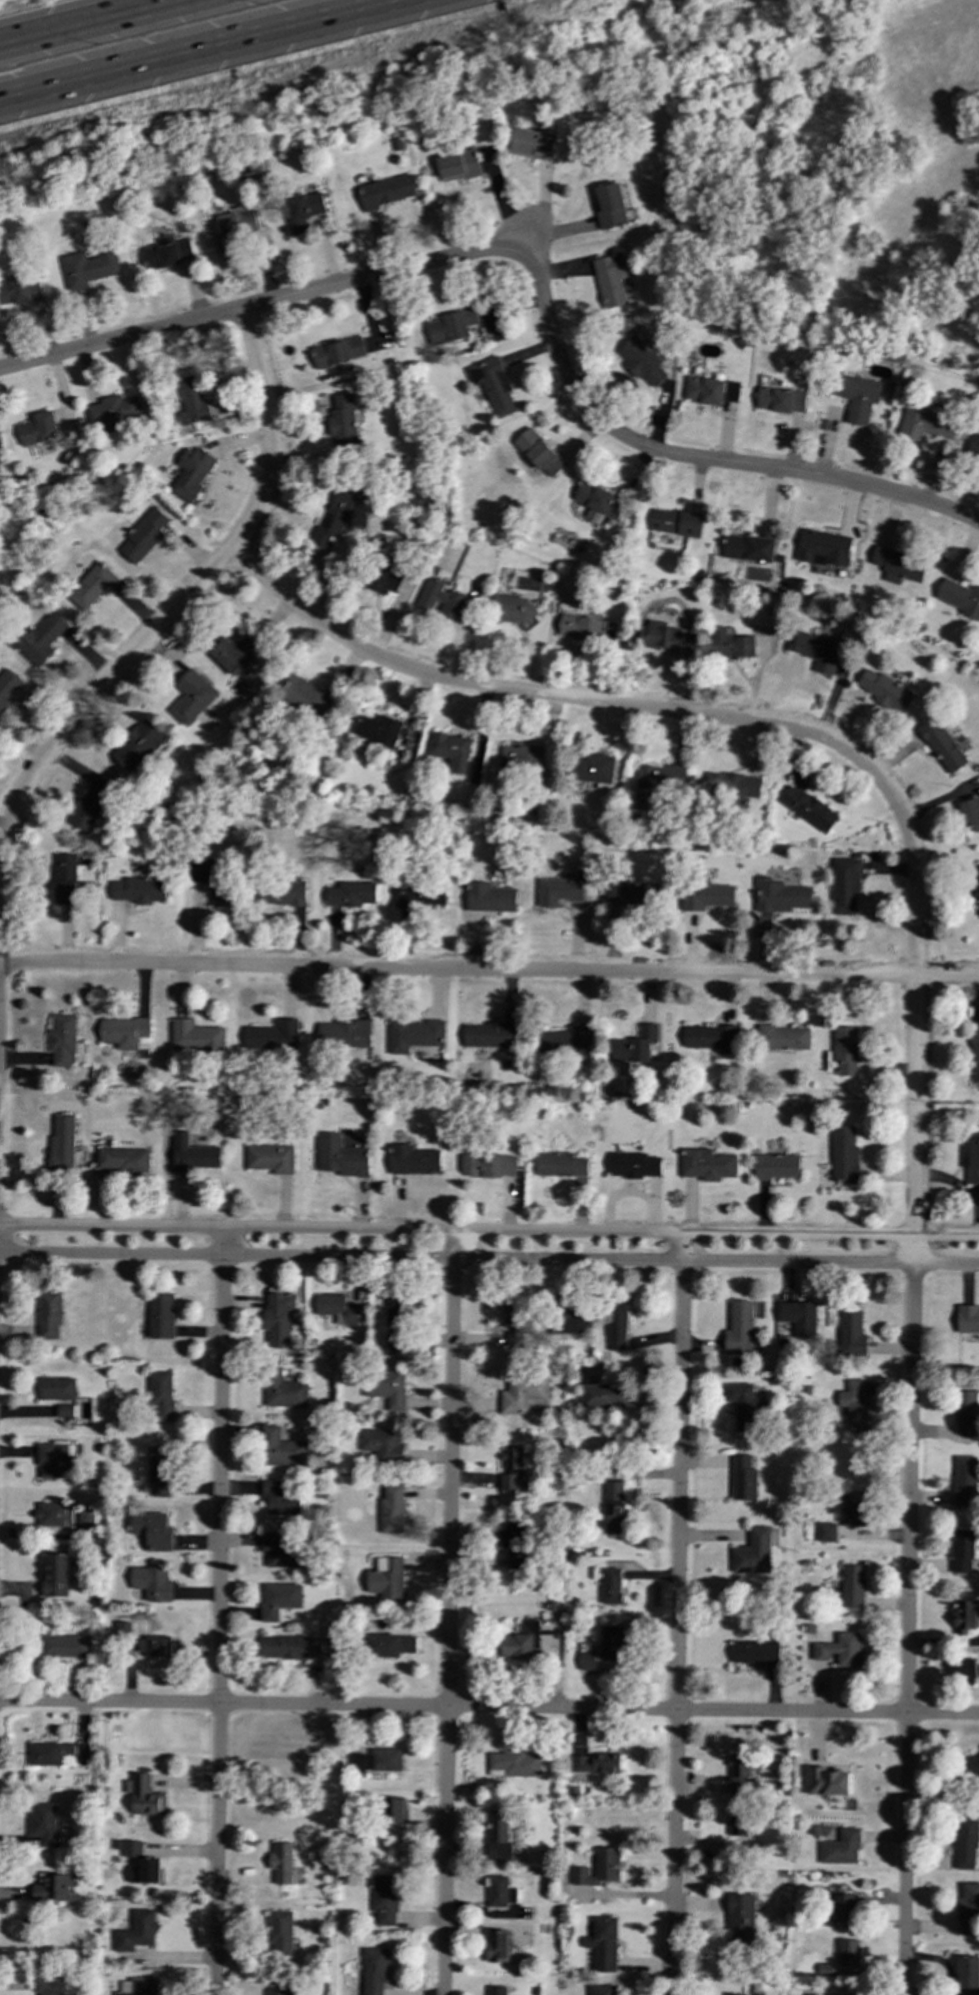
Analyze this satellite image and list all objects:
road: (81, 20)
road: (200, 49)
building: (535, 140)
building: (397, 145)
building: (459, 164)
park: (842, 168)
building: (386, 190)
building: (612, 206)
building: (304, 209)
building: (235, 229)
building: (167, 251)
road: (534, 262)
building: (88, 265)
building: (610, 279)
building: (19, 288)
building: (451, 326)
building: (740, 343)
building: (336, 352)
building: (640, 360)
building: (493, 384)
building: (710, 390)
building: (360, 396)
building: (858, 396)
building: (781, 400)
building: (192, 401)
building: (116, 412)
building: (343, 422)
building: (926, 422)
building: (38, 425)
building: (0, 447)
building: (974, 447)
building: (538, 451)
building: (192, 476)
building: (164, 488)
building: (596, 502)
building: (332, 520)
building: (677, 523)
building: (143, 535)
building: (752, 541)
building: (823, 546)
building: (899, 562)
building: (432, 569)
building: (380, 573)
building: (93, 585)
building: (960, 594)
building: (440, 599)
road: (178, 604)
building: (766, 609)
building: (512, 610)
building: (579, 624)
building: (919, 626)
building: (658, 633)
building: (39, 637)
building: (731, 642)
building: (814, 648)
building: (233, 651)
building: (976, 663)
building: (7, 685)
building: (886, 689)
building: (192, 694)
building: (306, 695)
road: (643, 709)
building: (380, 727)
building: (139, 741)
building: (943, 744)
building: (449, 749)
building: (520, 756)
building: (591, 764)
building: (659, 775)
building: (732, 786)
building: (91, 801)
building: (808, 806)
building: (971, 810)
building: (856, 854)
building: (66, 877)
building: (215, 878)
building: (975, 883)
building: (845, 884)
building: (138, 888)
building: (561, 889)
building: (282, 891)
building: (419, 892)
building: (350, 893)
building: (631, 893)
building: (702, 895)
building: (780, 895)
building: (489, 897)
road: (489, 969)
building: (124, 1032)
building: (343, 1033)
building: (415, 1034)
building: (490, 1034)
building: (62, 1035)
building: (271, 1035)
building: (196, 1036)
building: (782, 1036)
building: (711, 1037)
building: (566, 1039)
building: (643, 1042)
building: (846, 1049)
building: (974, 1050)
building: (61, 1141)
building: (844, 1154)
building: (341, 1155)
building: (193, 1157)
building: (270, 1157)
building: (972, 1158)
building: (122, 1159)
building: (413, 1159)
building: (561, 1164)
building: (633, 1164)
building: (706, 1164)
building: (488, 1165)
building: (776, 1166)
road: (489, 1232)
road: (489, 1259)
building: (338, 1308)
building: (49, 1315)
building: (161, 1315)
building: (279, 1318)
building: (566, 1318)
building: (796, 1319)
building: (967, 1319)
building: (515, 1325)
building: (616, 1325)
building: (396, 1327)
building: (739, 1329)
building: (851, 1332)
building: (57, 1389)
building: (385, 1389)
building: (283, 1391)
building: (522, 1394)
building: (160, 1396)
building: (603, 1396)
building: (855, 1405)
building: (743, 1406)
building: (65, 1409)
building: (965, 1413)
building: (382, 1447)
building: (282, 1449)
building: (56, 1464)
building: (511, 1468)
building: (161, 1470)
building: (743, 1479)
building: (964, 1480)
road: (909, 1485)
building: (281, 1499)
building: (613, 1508)
building: (854, 1509)
building: (392, 1510)
building: (54, 1515)
building: (86, 1520)
building: (152, 1530)
building: (826, 1532)
building: (513, 1544)
building: (281, 1551)
building: (964, 1551)
building: (753, 1553)
building: (59, 1574)
building: (386, 1580)
building: (152, 1583)
building: (853, 1586)
building: (612, 1587)
building: (280, 1599)
road: (218, 1612)
road: (448, 1613)
road: (677, 1614)
building: (966, 1616)
building: (123, 1629)
building: (521, 1643)
building: (610, 1644)
building: (64, 1646)
building: (155, 1646)
building: (384, 1646)
building: (292, 1648)
building: (840, 1650)
building: (755, 1652)
building: (965, 1668)
road: (489, 1708)
building: (48, 1754)
building: (376, 1760)
building: (595, 1763)
building: (514, 1764)
building: (971, 1768)
building: (740, 1774)
building: (826, 1783)
building: (146, 1798)
building: (392, 1810)
building: (44, 1824)
building: (738, 1824)
building: (497, 1837)
building: (966, 1843)
building: (841, 1849)
building: (281, 1860)
building: (141, 1865)
building: (599, 1868)
building: (53, 1889)
building: (500, 1892)
building: (384, 1900)
building: (846, 1909)
building: (969, 1910)
building: (740, 1921)
building: (280, 1931)
building: (136, 1932)
building: (603, 1945)
building: (496, 1946)
building: (847, 1953)
building: (825, 1969)
building: (375, 1970)
building: (968, 1975)
building: (52, 1987)
building: (143, 1987)
building: (600, 1988)
building: (496, 1990)
building: (279, 1992)

